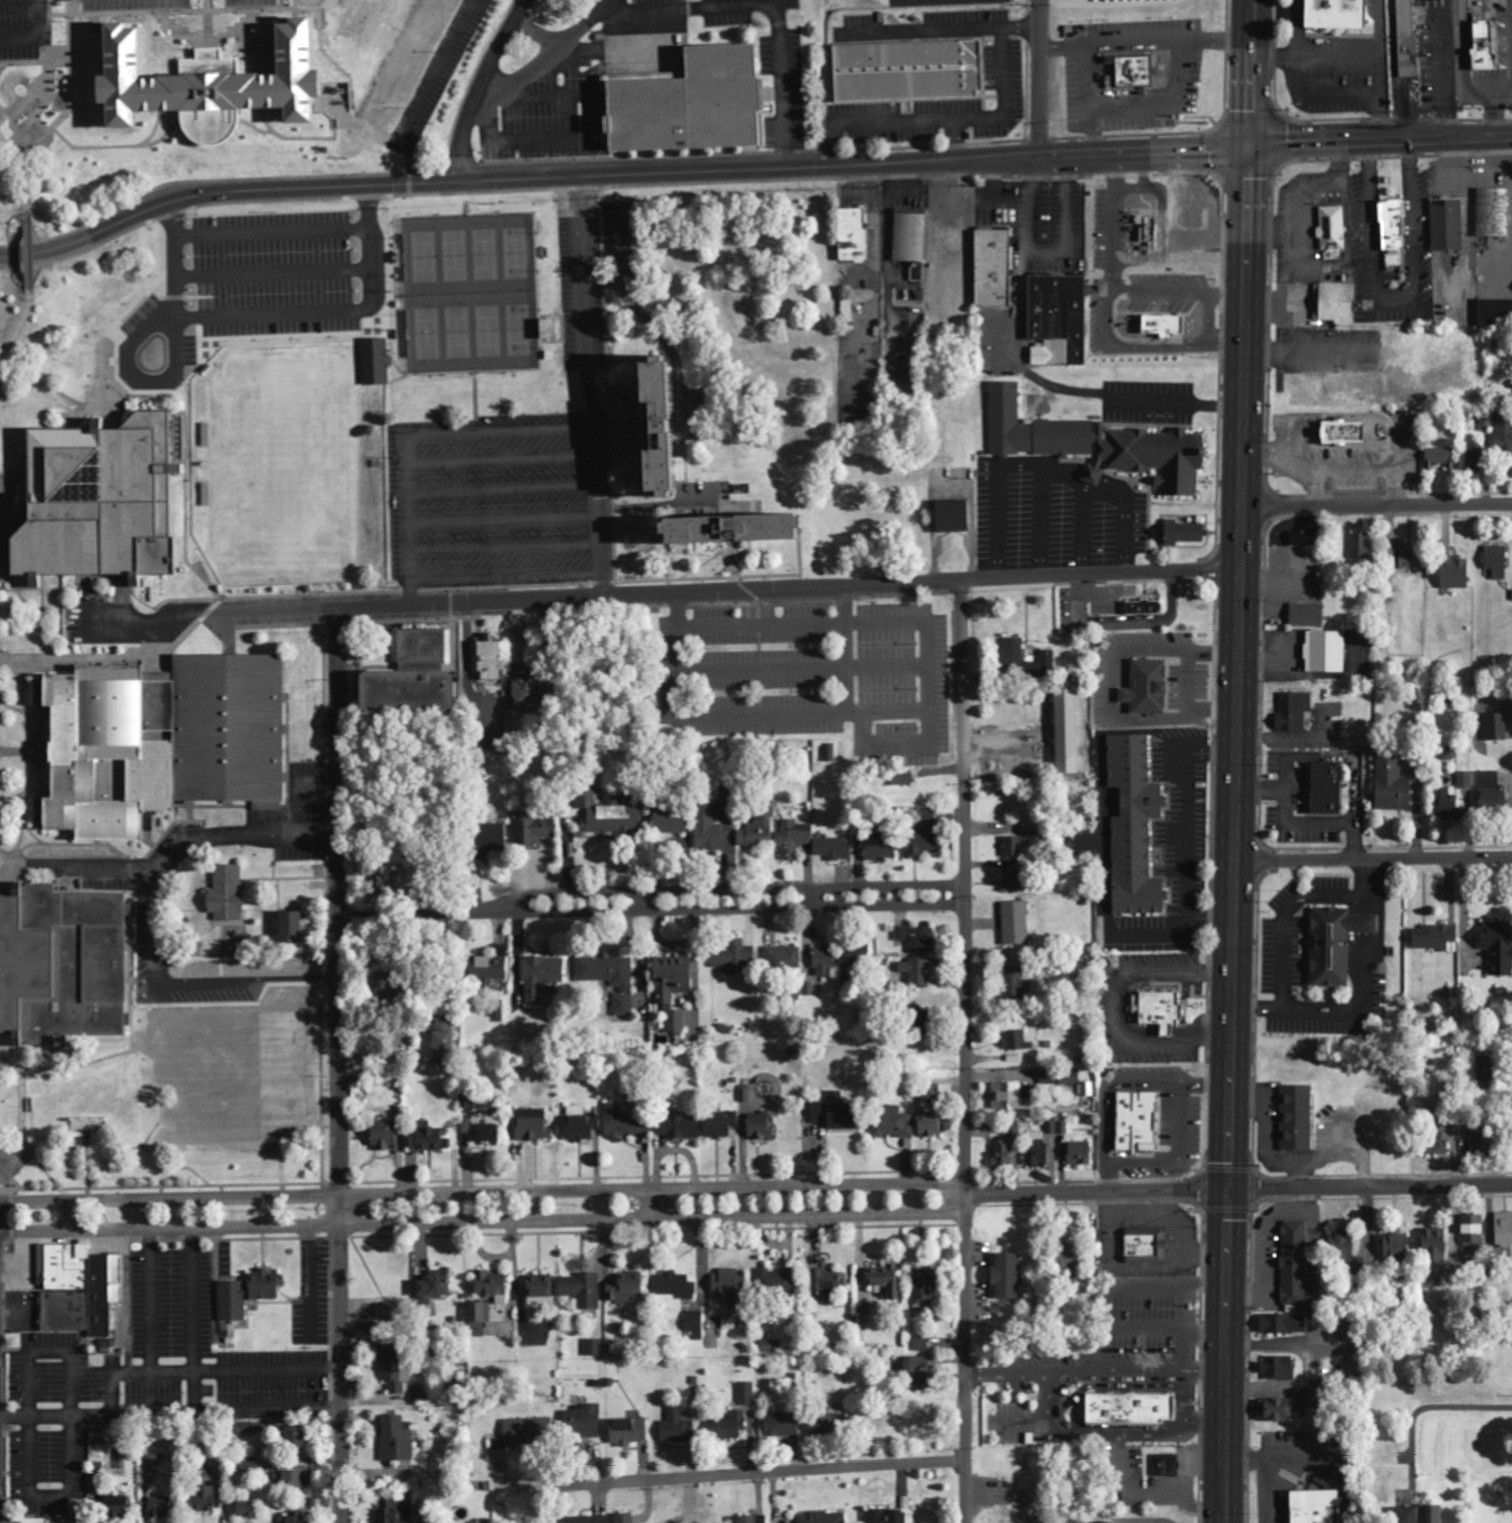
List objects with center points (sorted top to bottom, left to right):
building: (1325, 15)
building: (370, 20)
road: (189, 31)
road: (21, 37)
building: (1403, 39)
building: (1479, 46)
building: (415, 61)
building: (914, 71)
building: (1138, 71)
road: (1040, 78)
road: (62, 83)
building: (218, 84)
road: (481, 89)
building: (694, 103)
road: (36, 107)
building: (7, 121)
road: (1381, 143)
traffic signals: (1250, 148)
road: (619, 176)
building: (1490, 212)
building: (1444, 224)
building: (1328, 228)
building: (1388, 232)
building: (857, 234)
building: (1152, 234)
building: (912, 243)
road: (27, 252)
building: (998, 268)
building: (1333, 304)
building: (1493, 312)
park: (746, 315)
building: (1058, 319)
building: (1169, 325)
road: (17, 330)
building: (376, 365)
road: (589, 388)
building: (678, 427)
building: (1336, 432)
building: (1502, 435)
building: (1099, 444)
building: (1438, 457)
building: (1468, 461)
park: (286, 465)
building: (106, 504)
road: (1377, 504)
building: (957, 516)
building: (753, 529)
building: (1187, 533)
building: (1297, 538)
building: (1357, 547)
building: (1399, 560)
building: (1492, 561)
building: (1451, 572)
road: (656, 595)
building: (1146, 608)
building: (1302, 615)
building: (1321, 652)
building: (1015, 655)
road: (111, 656)
building: (491, 659)
building: (1150, 688)
building: (532, 691)
building: (417, 693)
building: (1289, 712)
building: (1492, 727)
building: (169, 741)
road: (1236, 761)
building: (904, 779)
building: (1464, 780)
building: (1388, 785)
building: (1320, 789)
building: (1487, 791)
building: (1442, 804)
building: (613, 816)
building: (928, 816)
building: (674, 821)
building: (1137, 828)
building: (533, 830)
building: (710, 833)
building: (793, 841)
building: (925, 843)
building: (1014, 847)
building: (881, 849)
road: (184, 856)
road: (1373, 861)
road: (13, 866)
building: (1014, 880)
building: (386, 883)
road: (714, 892)
building: (229, 894)
road: (716, 909)
road: (404, 916)
building: (1017, 924)
building: (297, 928)
road: (158, 935)
building: (1430, 937)
building: (919, 939)
building: (1330, 944)
building: (1494, 947)
building: (735, 958)
building: (856, 958)
building: (784, 959)
building: (826, 962)
building: (68, 965)
building: (491, 969)
building: (919, 973)
building: (541, 977)
building: (611, 979)
building: (675, 979)
building: (1020, 981)
building: (1162, 1010)
building: (497, 1012)
building: (676, 1022)
building: (1019, 1042)
building: (447, 1045)
road: (966, 1052)
road: (339, 1065)
building: (1061, 1079)
park: (235, 1084)
building: (1088, 1090)
building: (1014, 1098)
building: (839, 1113)
building: (1298, 1119)
building: (1139, 1121)
building: (606, 1124)
building: (893, 1124)
building: (724, 1125)
building: (934, 1125)
building: (535, 1126)
building: (762, 1126)
building: (680, 1127)
building: (1056, 1128)
building: (489, 1129)
building: (388, 1136)
building: (430, 1139)
building: (1427, 1140)
building: (1511, 1146)
building: (1081, 1154)
building: (1039, 1155)
building: (1004, 1156)
road: (1237, 1185)
traffic signals: (1228, 1186)
road: (482, 1194)
road: (648, 1206)
road: (484, 1223)
building: (1468, 1229)
building: (1500, 1229)
building: (1438, 1242)
building: (1147, 1244)
building: (1344, 1246)
building: (1398, 1246)
building: (1074, 1258)
building: (1297, 1264)
building: (1012, 1277)
building: (264, 1278)
building: (830, 1281)
building: (888, 1281)
building: (778, 1282)
building: (677, 1286)
building: (436, 1287)
building: (496, 1287)
building: (542, 1287)
building: (730, 1287)
building: (927, 1288)
building: (626, 1289)
building: (80, 1290)
building: (583, 1290)
building: (481, 1313)
building: (398, 1314)
building: (1285, 1325)
building: (696, 1326)
building: (479, 1330)
building: (921, 1344)
building: (594, 1348)
building: (396, 1367)
building: (1281, 1369)
building: (919, 1372)
building: (746, 1394)
building: (1316, 1399)
building: (1135, 1410)
building: (1278, 1411)
building: (584, 1422)
building: (830, 1425)
building: (784, 1426)
building: (731, 1427)
building: (679, 1428)
building: (530, 1432)
building: (631, 1432)
building: (301, 1438)
building: (398, 1441)
building: (1169, 1466)
road: (808, 1471)
building: (98, 1477)
building: (297, 1478)
building: (209, 1500)
building: (1320, 1507)
building: (120, 1508)
building: (164, 1509)
building: (251, 1510)
building: (397, 1512)
building: (1430, 1513)
building: (1401, 1514)
building: (889, 1516)
building: (626, 1518)
building: (297, 1519)
building: (809, 1519)
building: (591, 1520)
building: (746, 1520)

